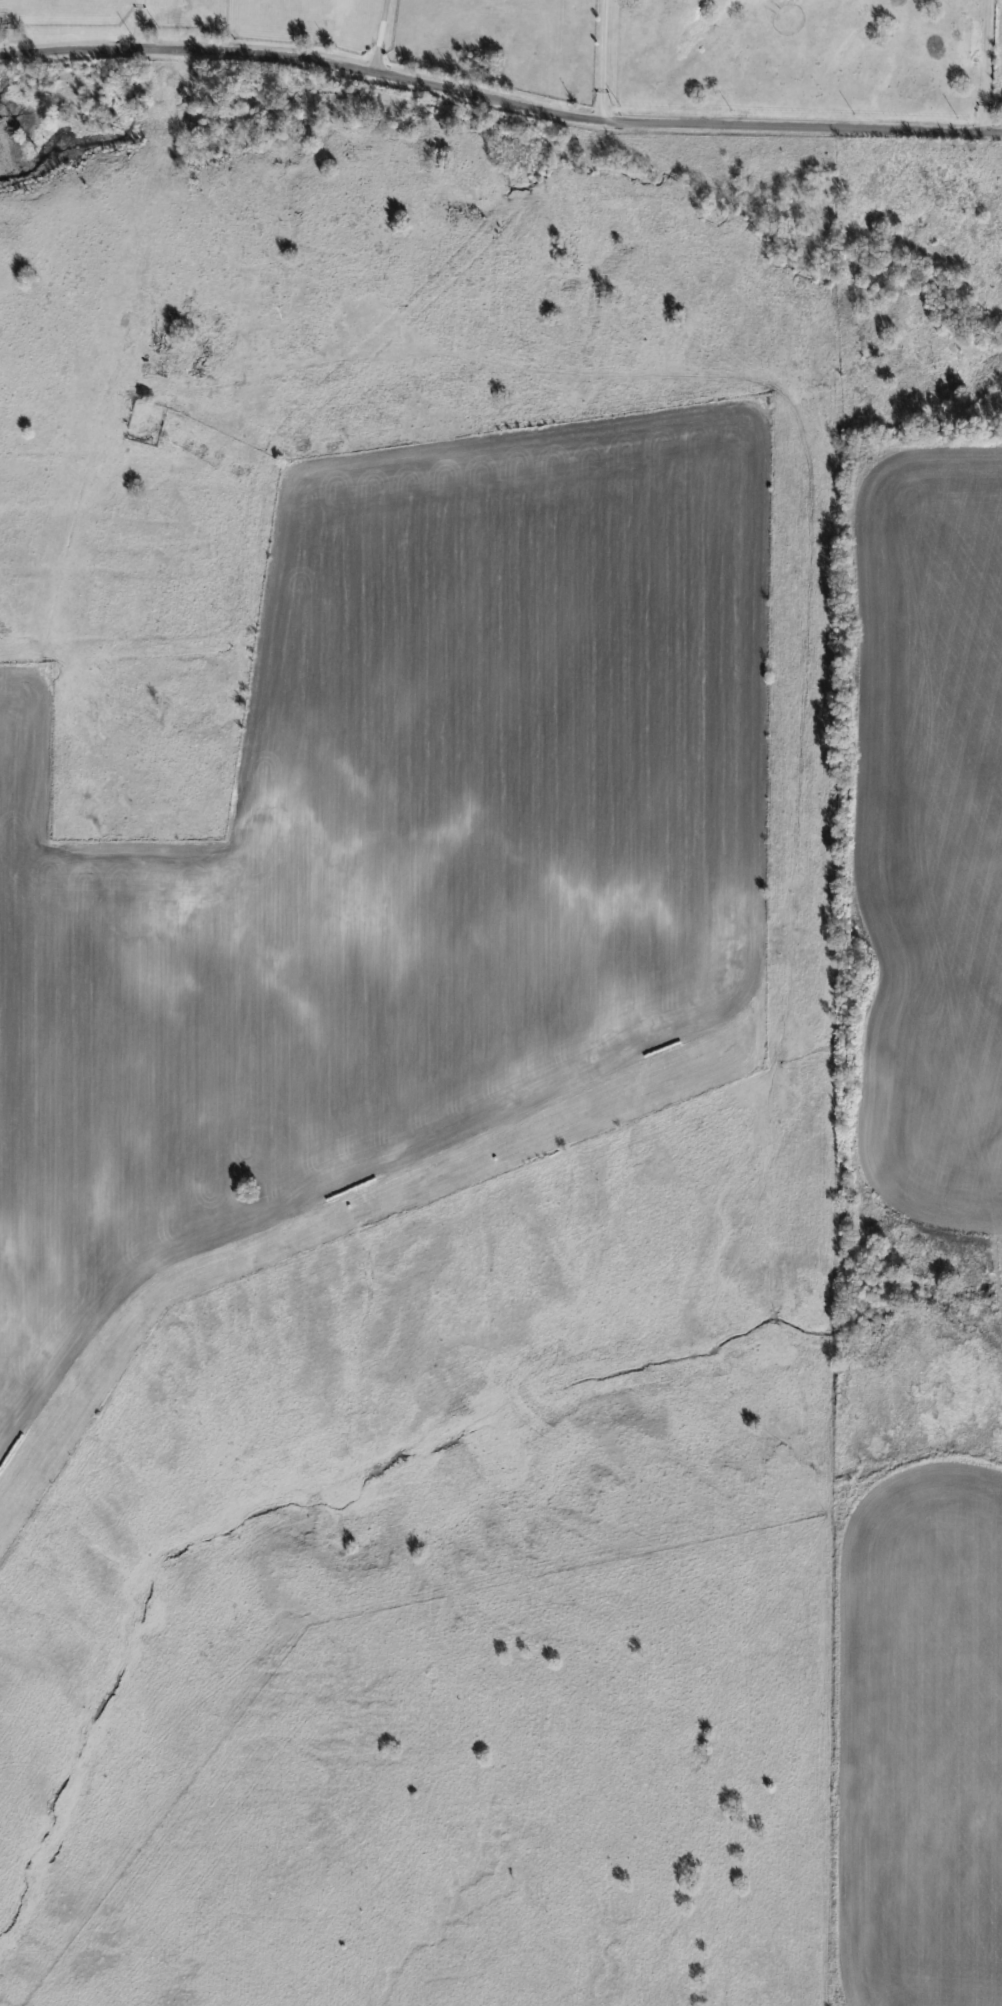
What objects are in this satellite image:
road: (139, 23)
road: (375, 34)
road: (597, 58)
road: (984, 65)
road: (499, 100)

